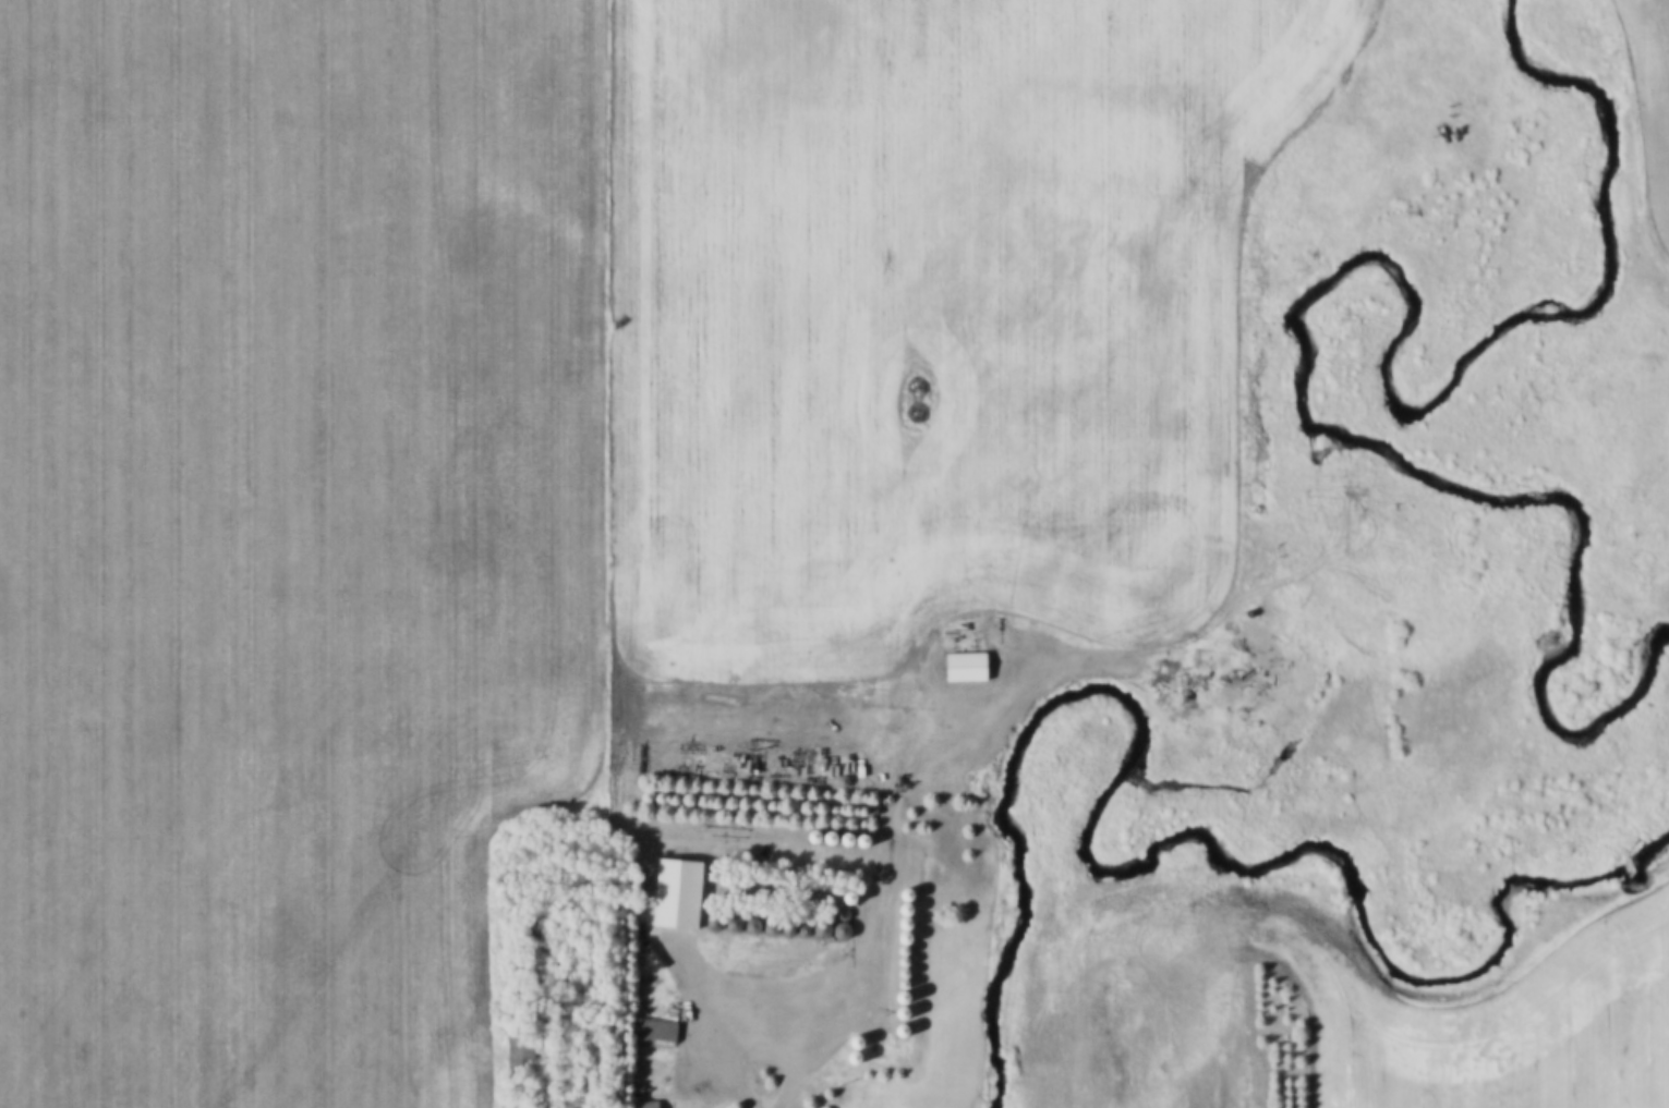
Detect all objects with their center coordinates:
building: (970, 668)
building: (774, 929)
building: (836, 932)
building: (658, 1033)
road: (761, 1051)
building: (521, 1056)

